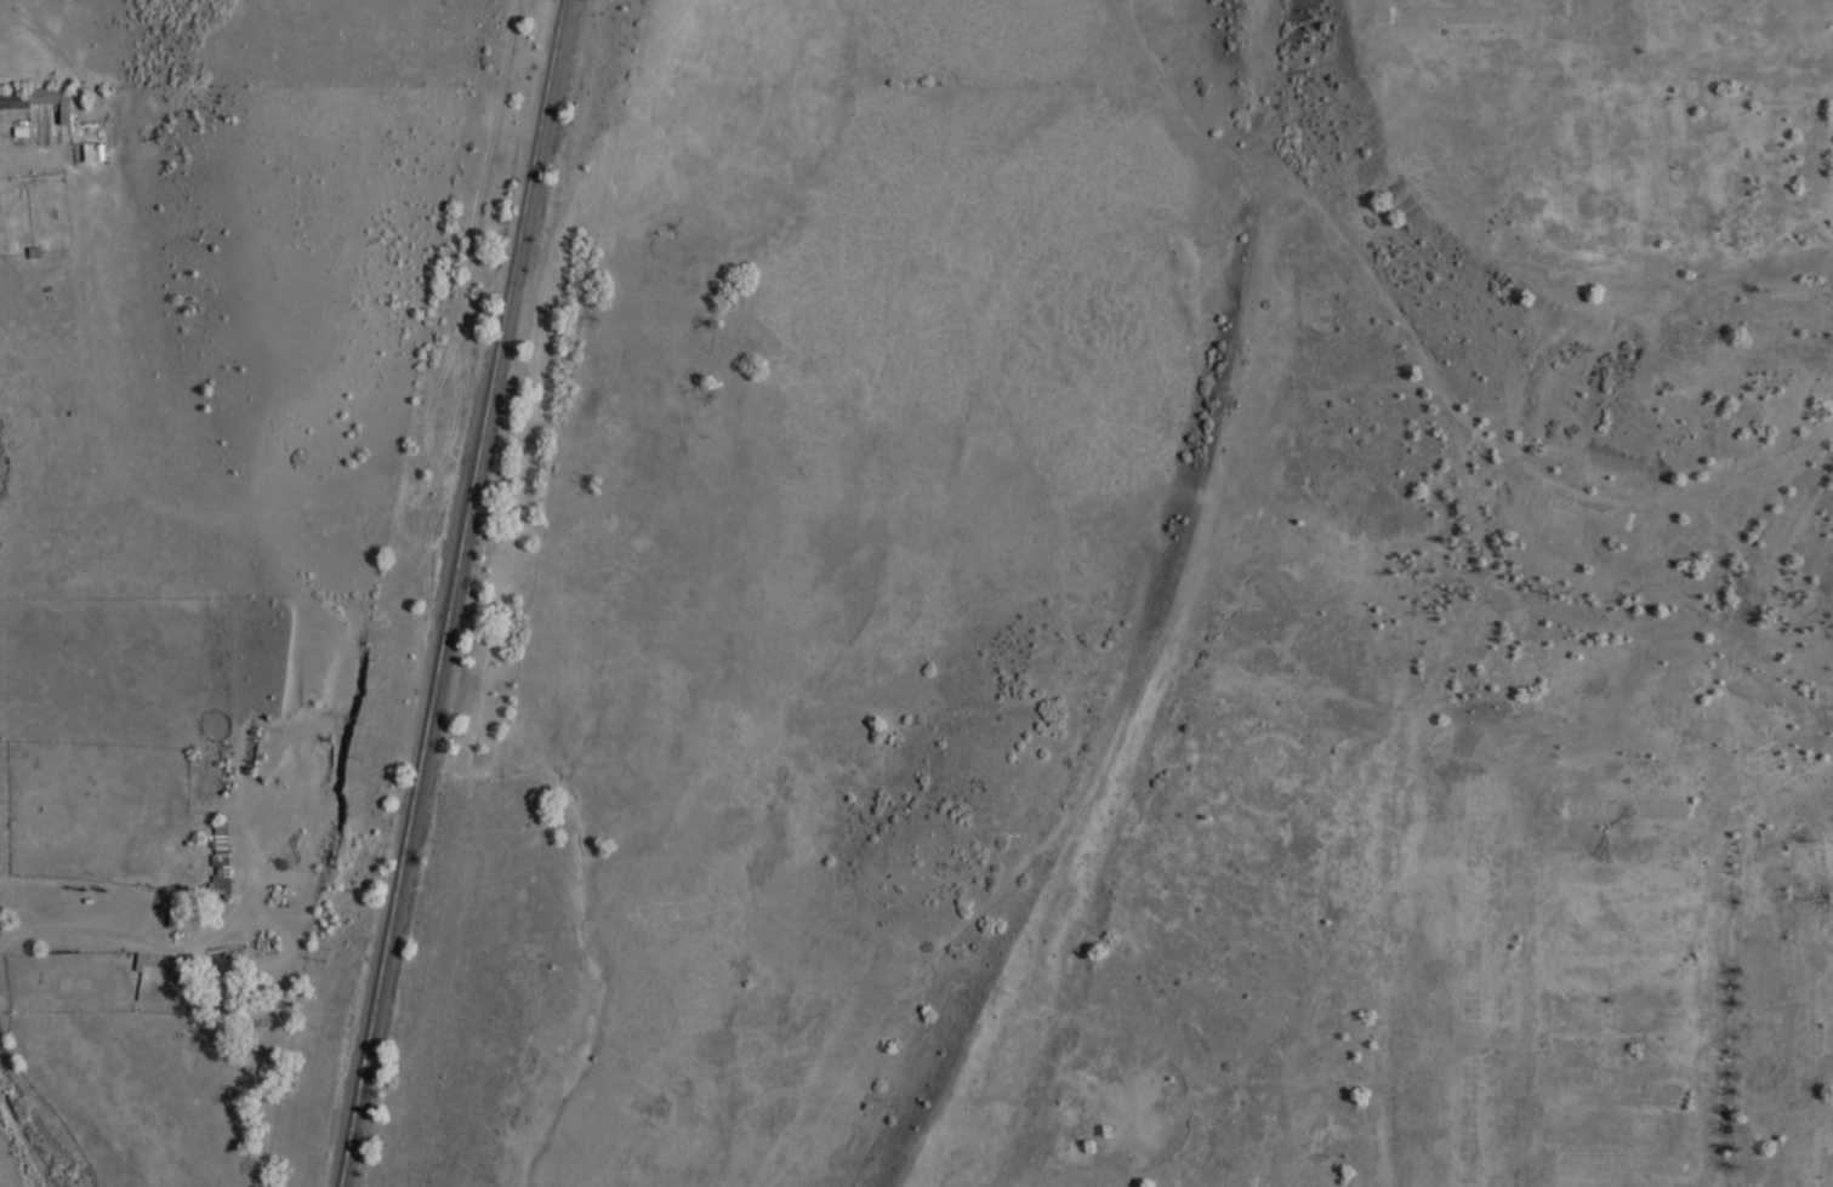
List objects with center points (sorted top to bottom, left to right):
road: (62, 56)
building: (38, 99)
road: (6, 126)
railway: (446, 593)
building: (220, 856)

